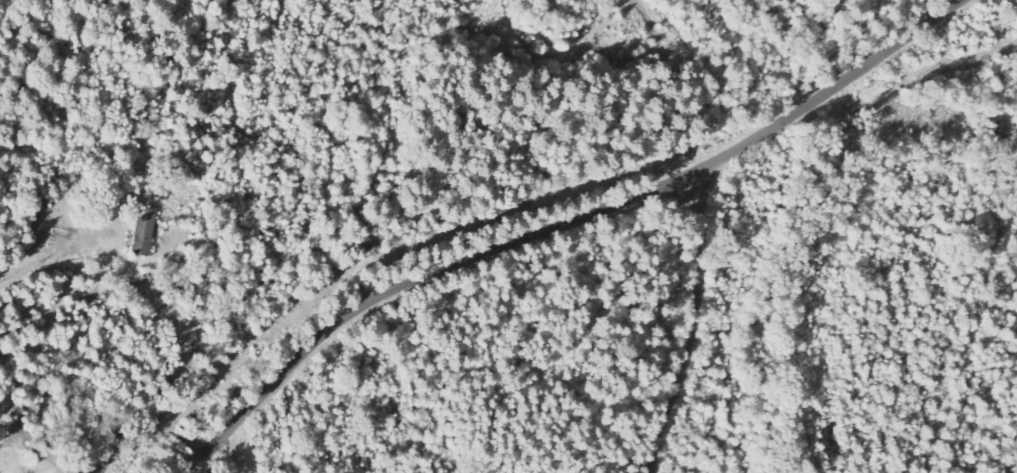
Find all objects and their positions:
road: (560, 223)
building: (144, 232)

